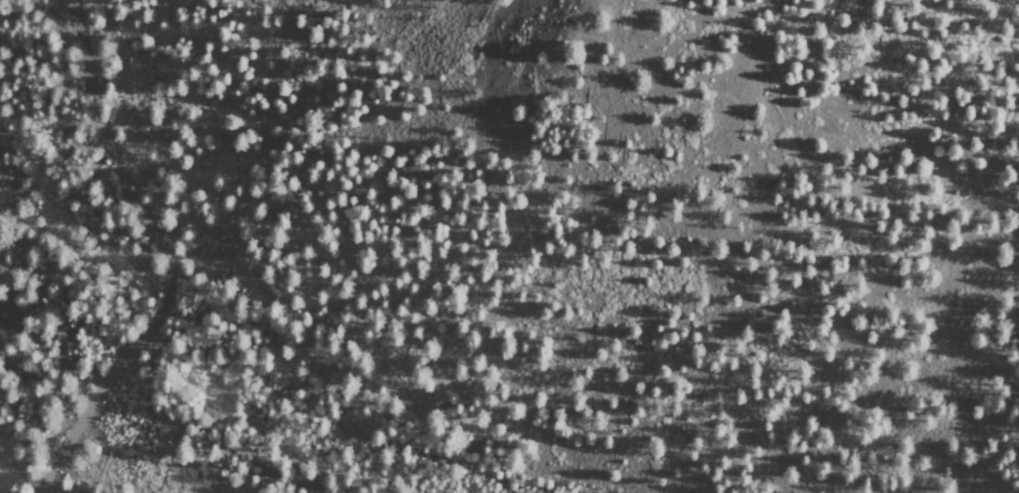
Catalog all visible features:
road: (165, 257)
road: (235, 312)

